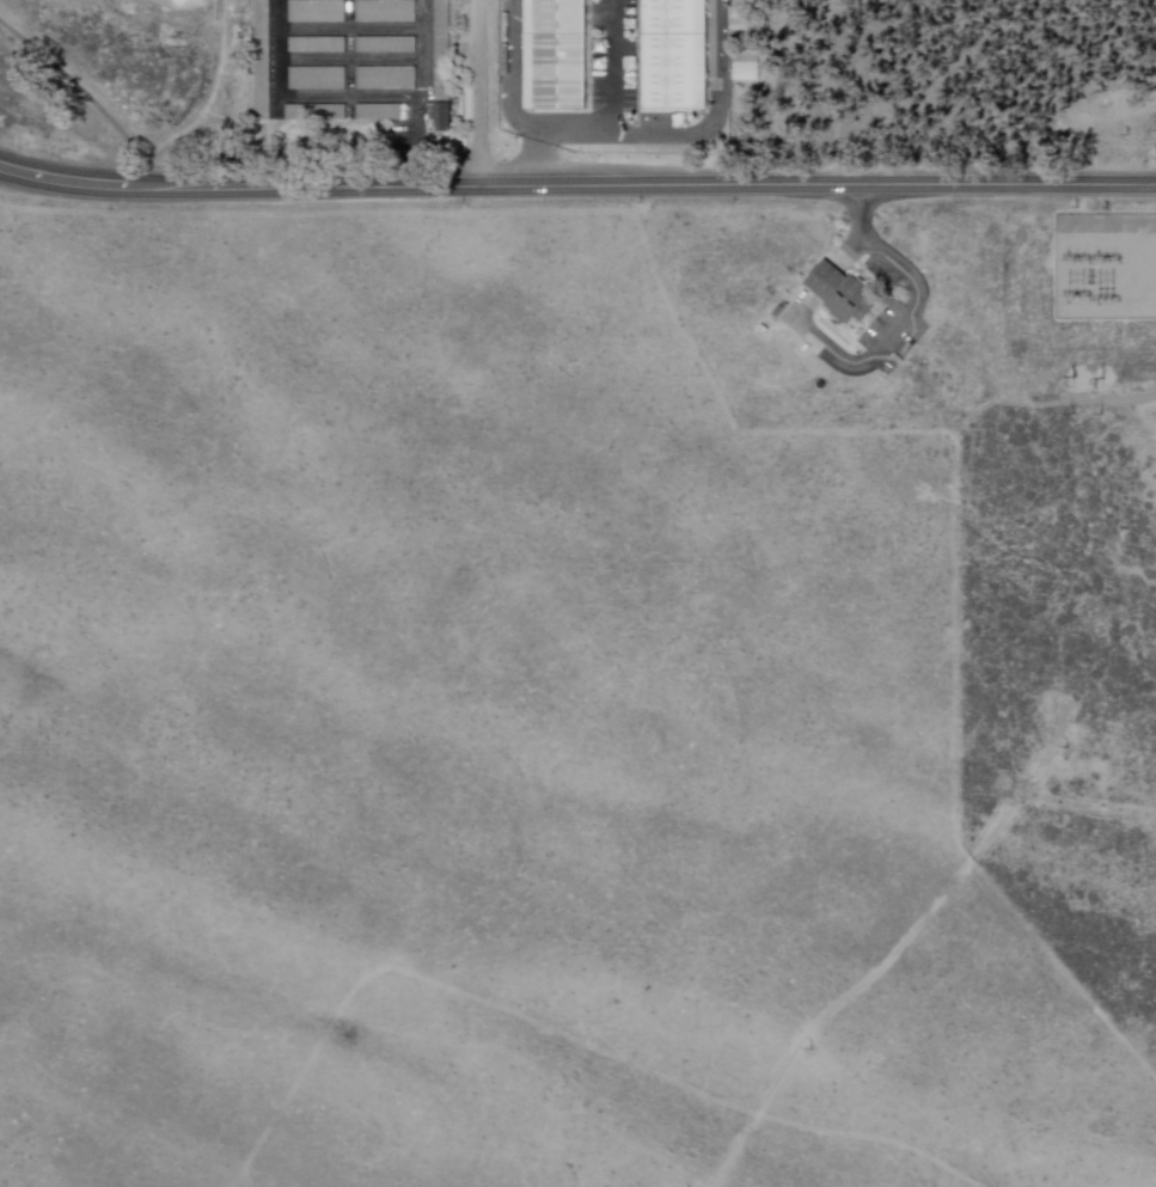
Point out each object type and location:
building: (385, 13)
building: (316, 14)
building: (386, 47)
building: (318, 48)
building: (674, 55)
building: (555, 56)
building: (263, 59)
building: (386, 80)
building: (318, 82)
road: (481, 93)
road: (611, 112)
building: (318, 115)
building: (379, 115)
building: (444, 121)
road: (576, 185)
road: (851, 252)
power substation: (1107, 267)
building: (842, 295)
building: (779, 312)
parking lot: (888, 320)
road: (906, 323)

